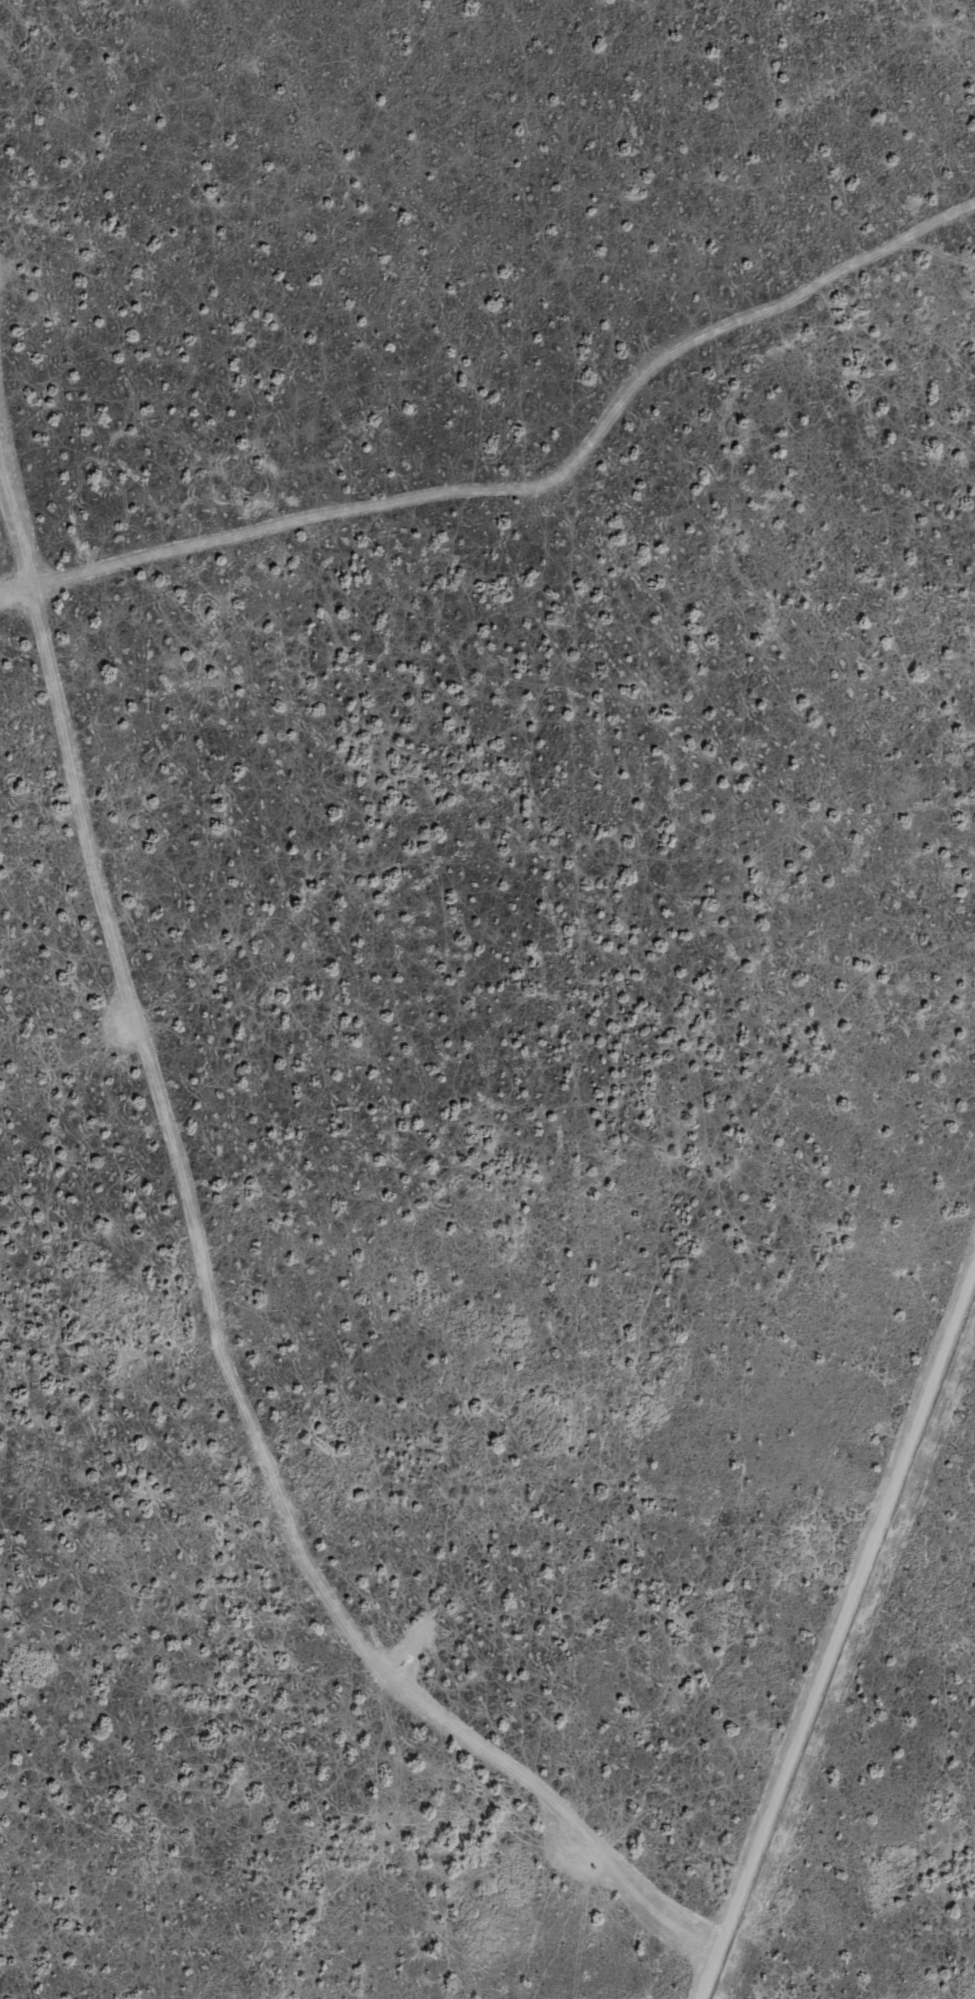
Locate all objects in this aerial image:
road: (789, 1542)

